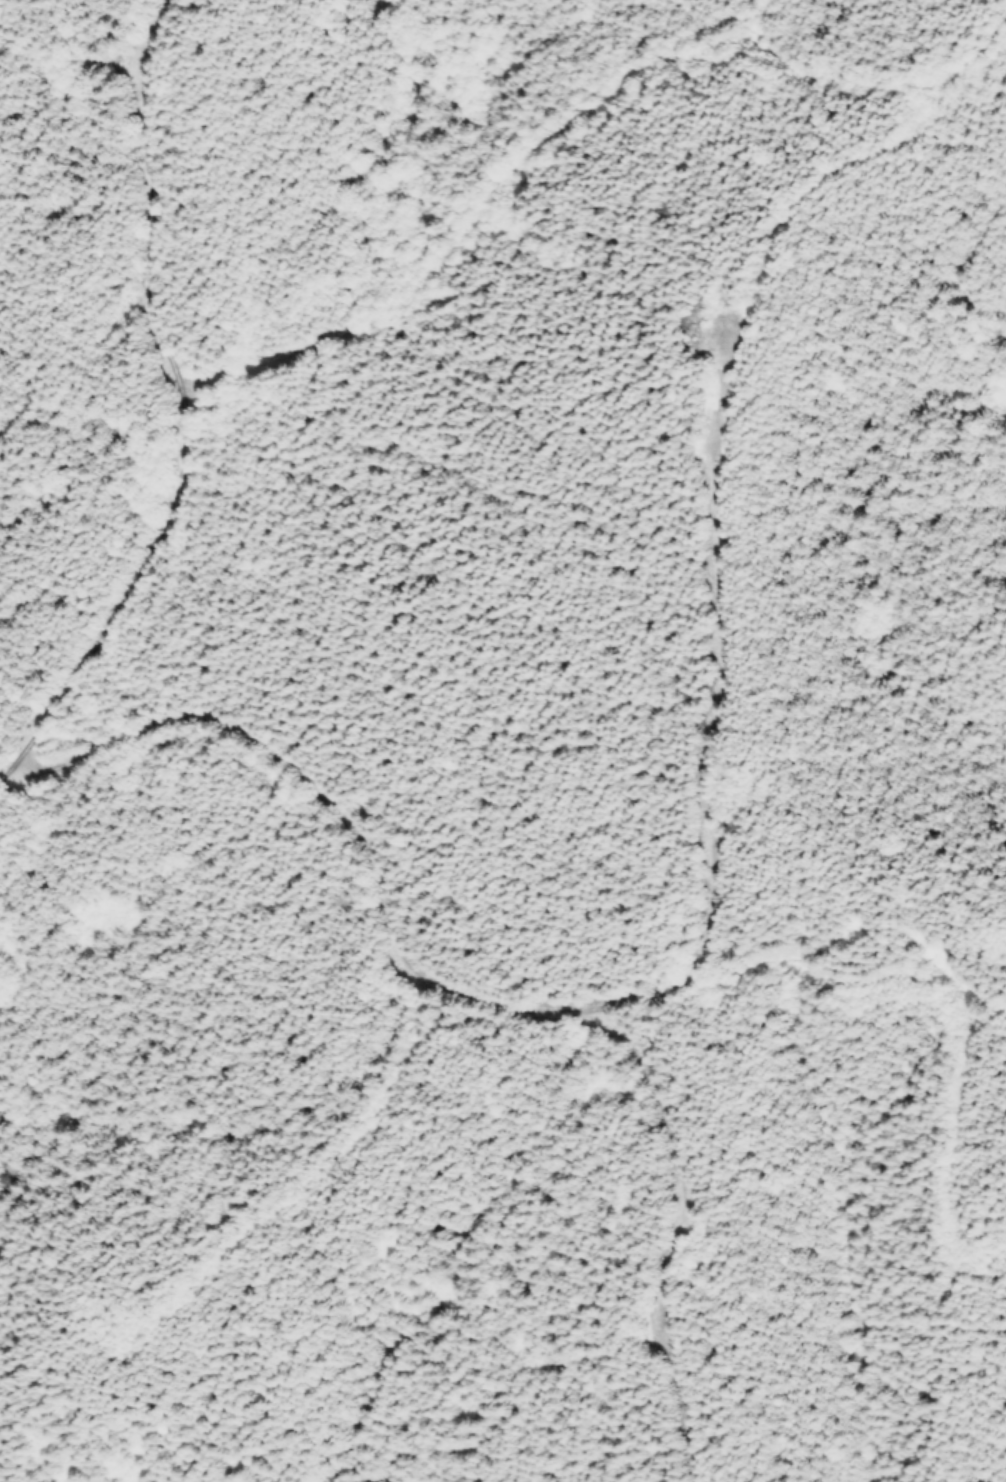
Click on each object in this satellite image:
road: (156, 428)

